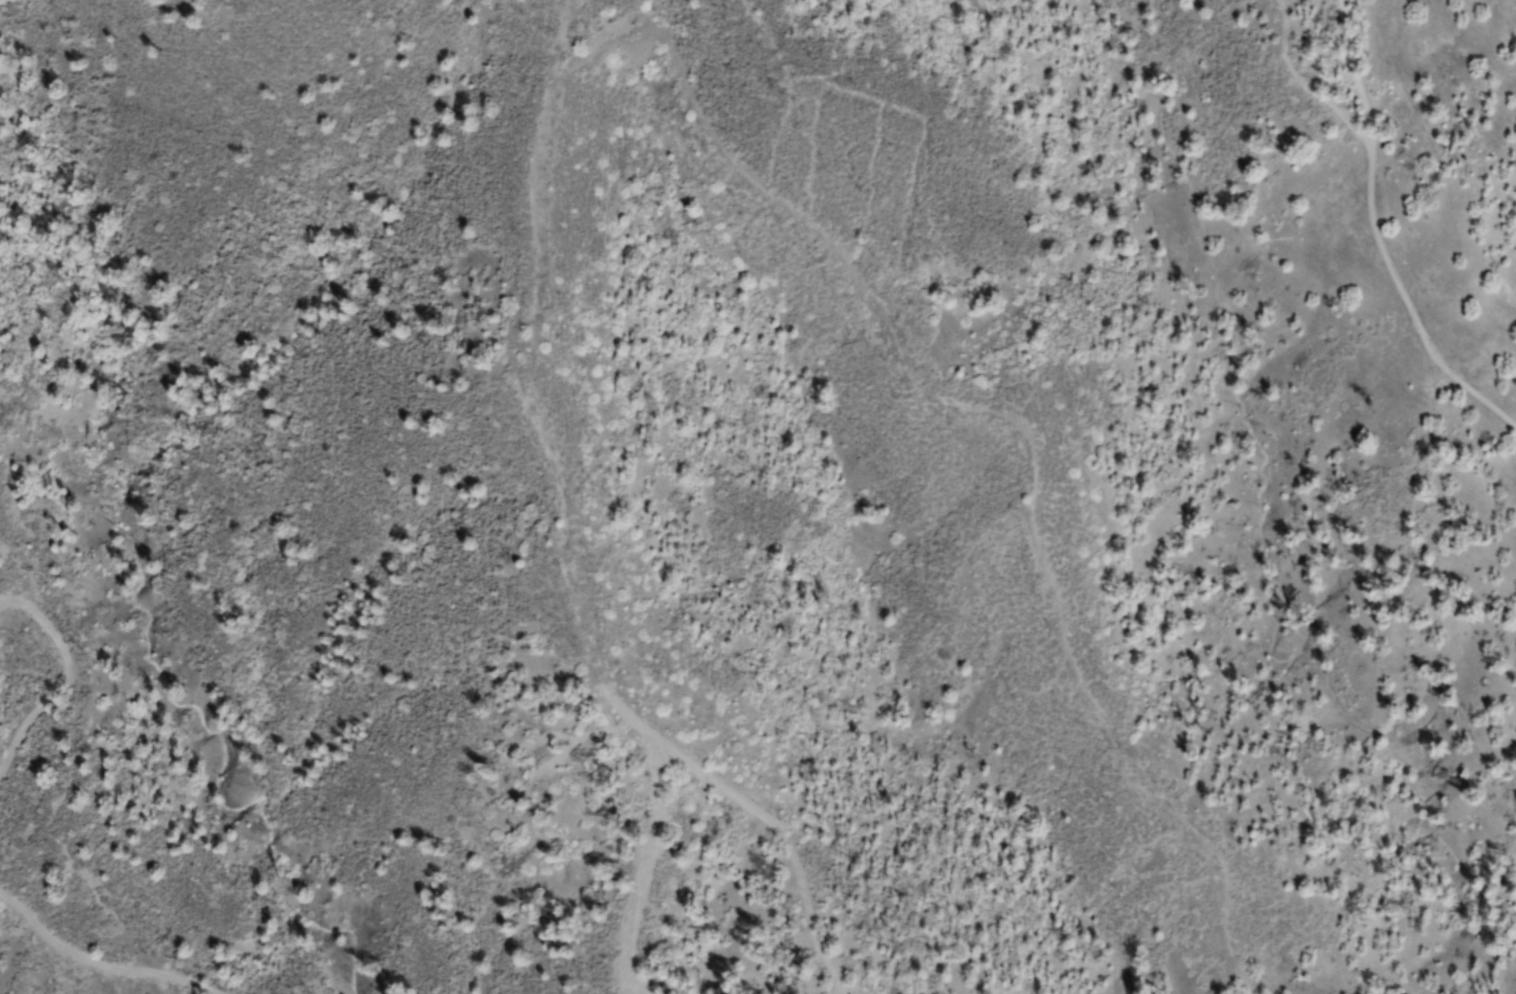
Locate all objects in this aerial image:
road: (1387, 218)

